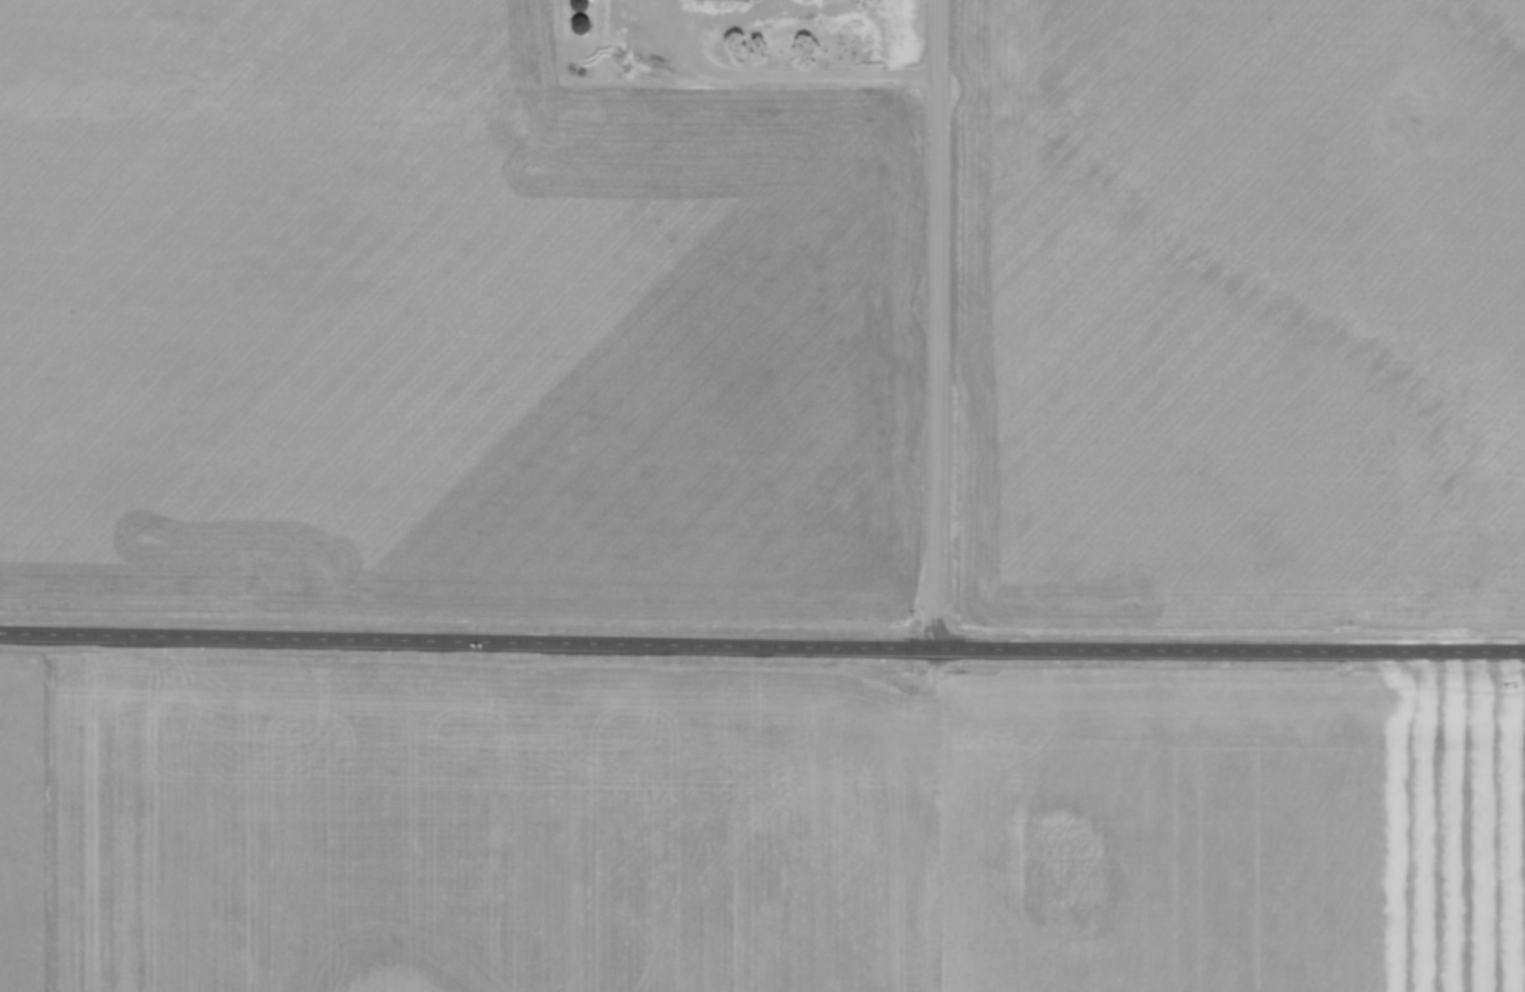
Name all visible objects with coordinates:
building: (721, 1)
building: (576, 4)
silo: (576, 4)
building: (575, 25)
silo: (575, 25)
road: (703, 74)
crop: (1242, 314)
road: (940, 324)
crop: (446, 326)
road: (762, 645)
crop: (785, 826)

